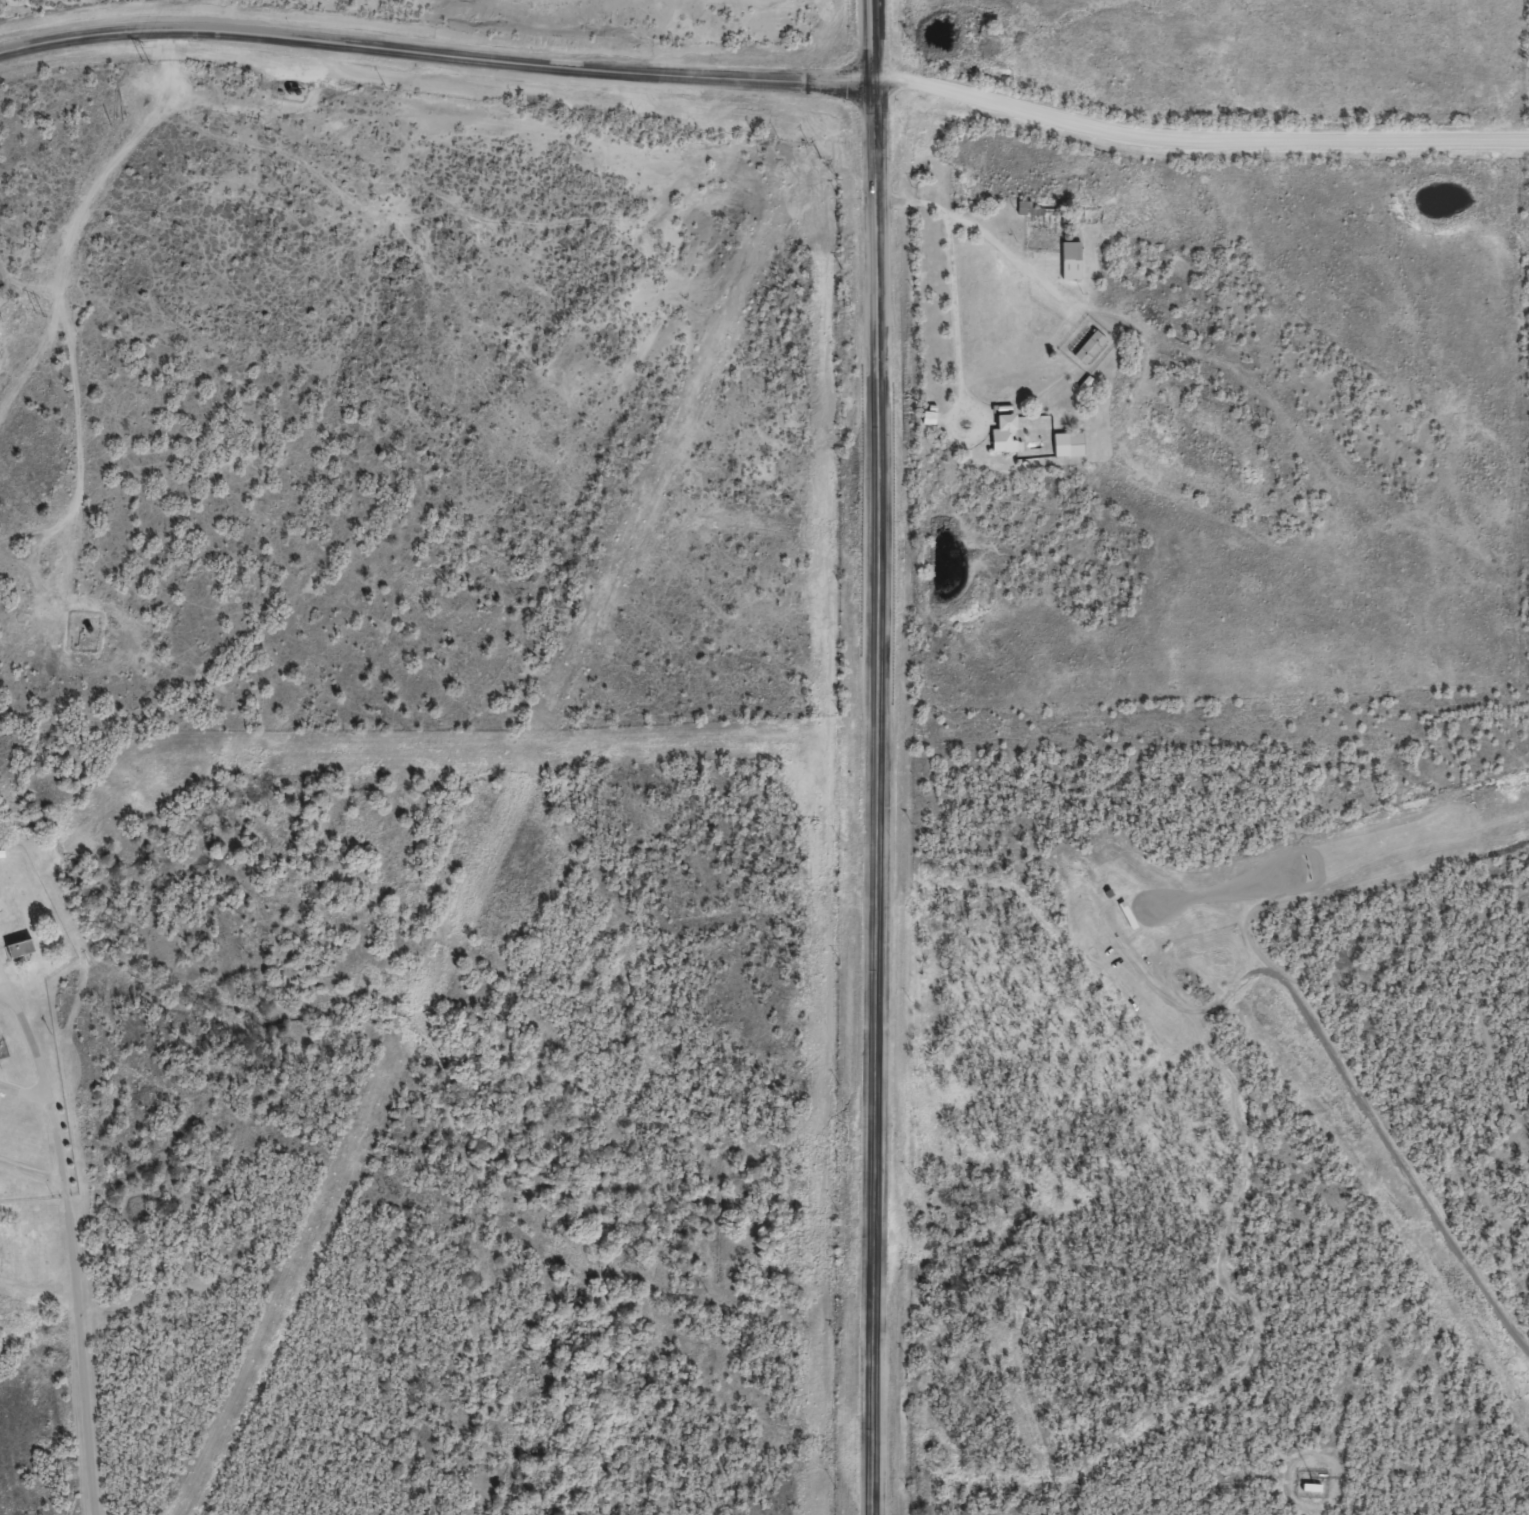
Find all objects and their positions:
road: (434, 56)
power tower: (144, 62)
road: (1194, 156)
building: (1029, 218)
building: (1073, 269)
power tower: (38, 317)
building: (1091, 356)
building: (931, 426)
building: (1008, 444)
building: (1070, 453)
road: (876, 757)
building: (25, 959)
road: (4, 983)
road: (1348, 1082)
road: (26, 1090)
road: (33, 1173)
road: (72, 1248)
building: (1313, 1496)

